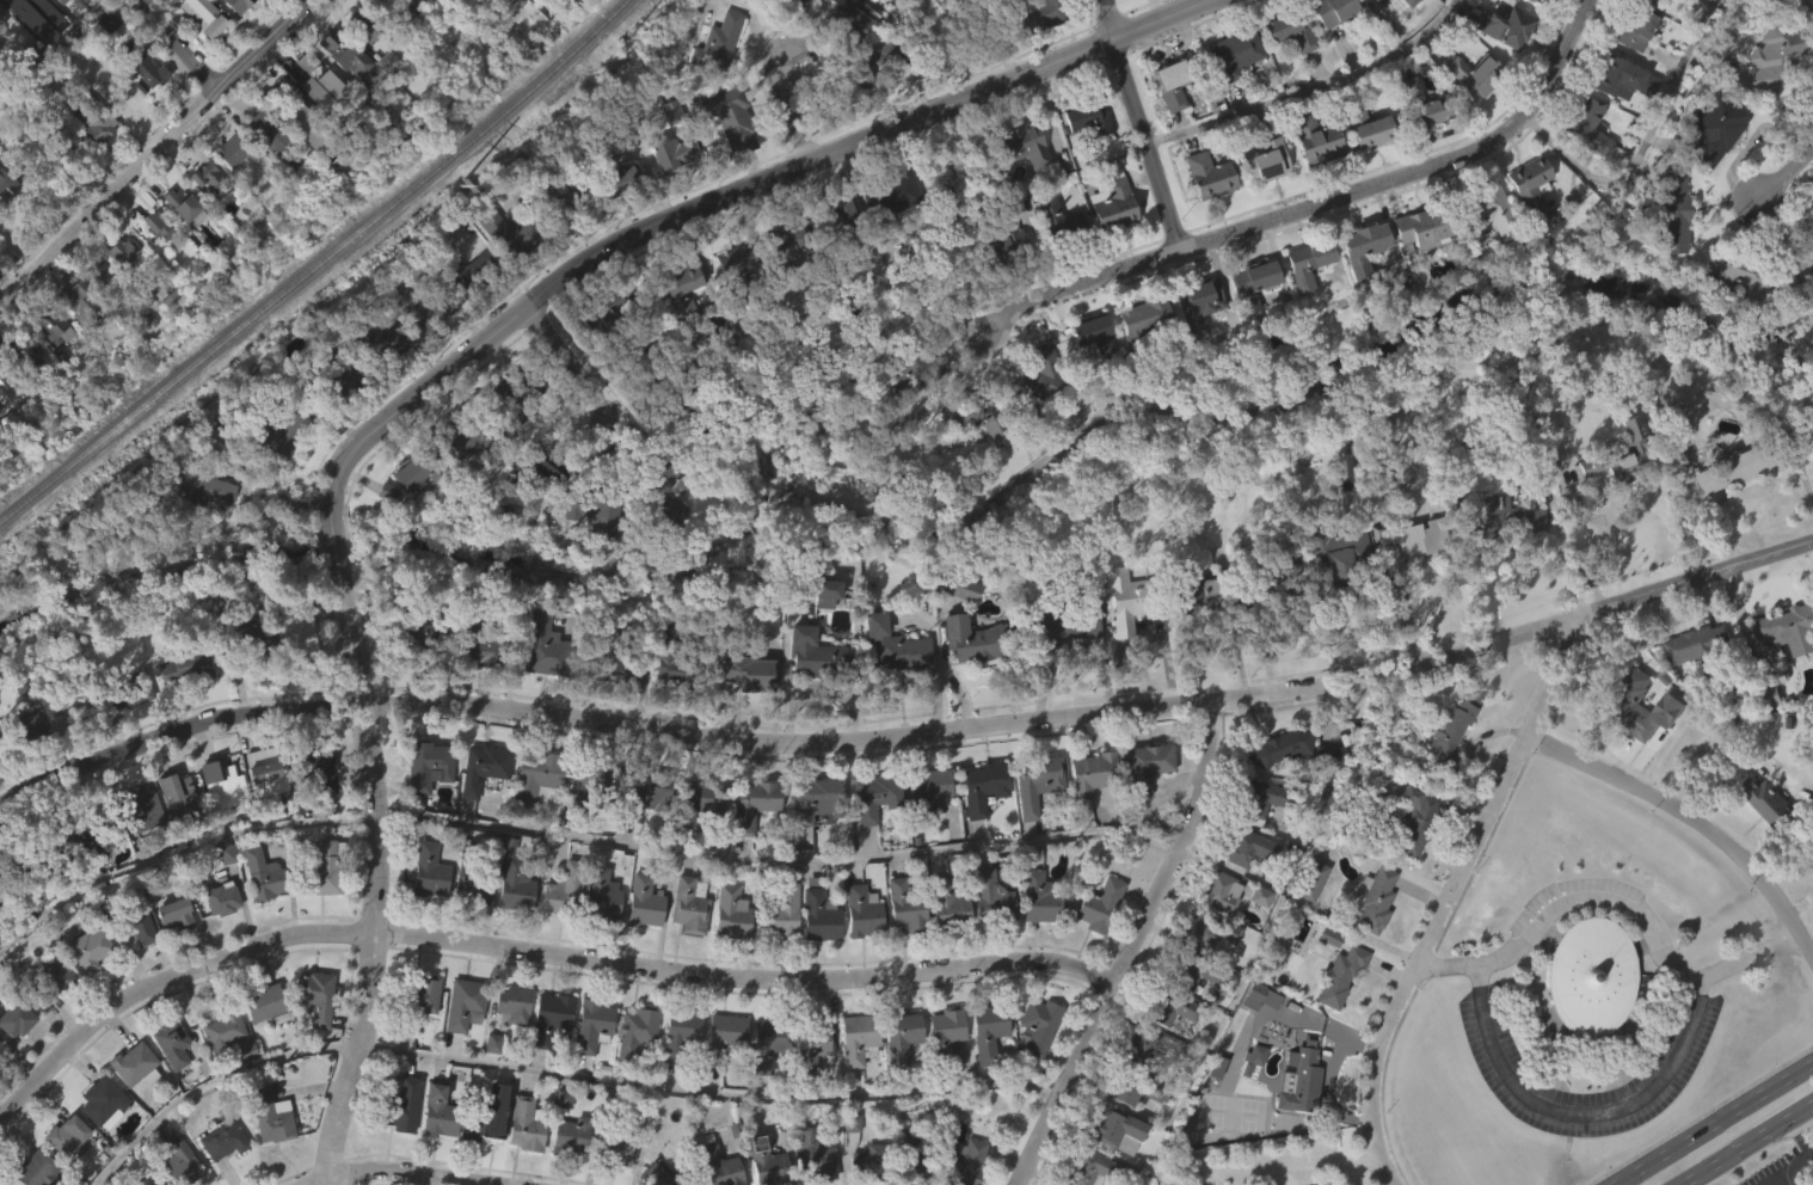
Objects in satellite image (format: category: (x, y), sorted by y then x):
building: (131, 0)
building: (61, 1)
building: (424, 1)
building: (1535, 1)
building: (1646, 1)
building: (1811, 1)
building: (438, 2)
building: (775, 2)
building: (1406, 2)
building: (1156, 4)
building: (235, 5)
building: (1333, 10)
building: (758, 13)
building: (0, 14)
building: (209, 16)
building: (846, 16)
building: (1034, 16)
building: (1382, 19)
building: (0, 23)
building: (417, 24)
building: (365, 25)
building: (43, 26)
building: (1502, 26)
building: (1290, 29)
building: (1635, 31)
building: (789, 36)
building: (184, 37)
road: (180, 42)
building: (1327, 43)
power tower: (626, 44)
building: (720, 44)
building: (846, 47)
building: (32, 51)
building: (348, 51)
building: (1231, 53)
building: (1772, 55)
building: (104, 59)
building: (1, 62)
building: (1499, 65)
building: (1285, 68)
building: (871, 69)
building: (152, 74)
building: (1476, 74)
building: (713, 79)
building: (1621, 79)
building: (1167, 82)
road: (1307, 88)
building: (339, 90)
building: (1228, 92)
building: (1768, 93)
building: (293, 98)
building: (382, 98)
building: (867, 103)
building: (1422, 104)
building: (141, 106)
road: (794, 109)
building: (1465, 112)
building: (1081, 115)
building: (733, 117)
building: (1617, 117)
building: (1166, 121)
building: (98, 122)
road: (1138, 124)
building: (1403, 125)
building: (1713, 127)
building: (1369, 128)
building: (1588, 129)
building: (269, 131)
building: (326, 131)
building: (380, 139)
building: (1317, 139)
road: (1645, 141)
building: (1025, 145)
building: (67, 148)
building: (234, 151)
building: (1419, 151)
road: (155, 153)
building: (670, 153)
building: (1082, 154)
building: (725, 156)
building: (91, 158)
building: (1265, 160)
building: (1363, 165)
building: (1586, 167)
building: (1710, 167)
building: (260, 168)
road: (1789, 170)
building: (6, 171)
building: (1209, 173)
building: (61, 176)
building: (207, 177)
building: (620, 179)
building: (1311, 179)
building: (1018, 182)
building: (229, 188)
power tower: (461, 188)
building: (1529, 189)
building: (656, 192)
road: (721, 194)
building: (557, 197)
building: (886, 198)
building: (1260, 198)
building: (179, 202)
building: (1108, 202)
road: (1319, 204)
building: (1480, 209)
building: (1, 211)
building: (1670, 211)
building: (1203, 213)
building: (203, 215)
building: (611, 215)
building: (834, 216)
building: (1058, 219)
building: (150, 220)
building: (546, 226)
building: (1422, 227)
building: (1526, 227)
building: (883, 229)
building: (514, 233)
building: (1106, 241)
building: (179, 242)
building: (1000, 242)
building: (786, 244)
building: (1364, 246)
building: (835, 248)
building: (1485, 248)
building: (1666, 248)
building: (122, 252)
building: (1052, 257)
building: (1807, 259)
building: (1308, 260)
building: (153, 263)
railway: (315, 263)
building: (732, 266)
building: (1413, 266)
building: (499, 270)
building: (469, 271)
building: (1740, 274)
building: (100, 276)
building: (997, 278)
building: (779, 281)
building: (1253, 283)
building: (1357, 285)
building: (119, 288)
building: (682, 295)
building: (69, 297)
building: (1199, 300)
building: (1302, 300)
building: (404, 305)
building: (463, 308)
building: (94, 309)
building: (1735, 312)
building: (64, 313)
building: (607, 315)
building: (1144, 319)
building: (1247, 320)
building: (51, 325)
building: (675, 326)
building: (161, 330)
building: (1093, 331)
building: (72, 336)
building: (380, 342)
building: (1193, 342)
building: (407, 343)
building: (597, 350)
building: (21, 352)
building: (141, 356)
building: (1138, 356)
building: (650, 362)
building: (48, 363)
road: (571, 363)
building: (921, 366)
building: (1090, 372)
building: (342, 374)
building: (373, 379)
building: (5, 380)
power tower: (223, 385)
building: (20, 389)
building: (1037, 389)
building: (522, 393)
building: (971, 413)
building: (1034, 415)
building: (337, 418)
building: (677, 419)
building: (5, 426)
building: (288, 432)
building: (478, 435)
building: (515, 435)
building: (967, 453)
building: (1621, 455)
road: (264, 459)
building: (6, 460)
building: (546, 467)
building: (1735, 467)
building: (425, 469)
building: (460, 475)
building: (205, 486)
building: (668, 487)
building: (1729, 505)
building: (602, 508)
building: (405, 510)
building: (1500, 521)
building: (197, 526)
building: (381, 529)
building: (662, 530)
building: (1412, 545)
road: (1585, 546)
road: (333, 548)
building: (595, 553)
building: (1338, 553)
building: (1501, 555)
road: (1569, 561)
building: (1408, 581)
building: (1271, 582)
building: (1333, 589)
building: (819, 592)
building: (1196, 594)
building: (1130, 600)
building: (1059, 621)
building: (1787, 625)
building: (296, 627)
building: (1192, 630)
building: (423, 632)
building: (977, 638)
building: (253, 639)
road: (354, 640)
building: (551, 641)
building: (487, 644)
building: (895, 645)
building: (1696, 645)
building: (817, 655)
building: (680, 661)
building: (621, 663)
building: (1116, 663)
building: (1059, 664)
building: (1787, 665)
building: (189, 667)
building: (294, 669)
building: (413, 670)
building: (241, 674)
building: (745, 674)
building: (966, 675)
building: (472, 679)
building: (539, 682)
building: (889, 682)
building: (1692, 682)
building: (1771, 688)
building: (125, 689)
building: (810, 689)
building: (69, 704)
building: (182, 704)
building: (1645, 707)
building: (744, 710)
road: (1098, 713)
building: (25, 729)
building: (122, 729)
building: (1448, 730)
road: (176, 731)
building: (1768, 733)
building: (1629, 742)
building: (1664, 747)
building: (1277, 748)
building: (55, 750)
building: (1325, 754)
building: (21, 763)
building: (431, 765)
building: (1445, 765)
building: (1145, 767)
building: (322, 768)
building: (484, 768)
building: (1087, 773)
building: (268, 774)
building: (540, 778)
building: (221, 782)
building: (586, 782)
building: (1032, 782)
building: (978, 786)
building: (1283, 786)
building: (926, 792)
building: (643, 794)
building: (183, 797)
building: (873, 797)
building: (693, 800)
building: (1254, 800)
building: (1766, 800)
building: (423, 803)
building: (813, 803)
building: (1139, 803)
building: (752, 805)
building: (314, 806)
building: (475, 806)
building: (143, 808)
building: (260, 810)
building: (1086, 811)
building: (531, 812)
road: (374, 817)
building: (589, 818)
building: (1411, 819)
building: (1031, 821)
road: (1690, 823)
building: (923, 824)
building: (977, 824)
building: (102, 827)
building: (172, 831)
building: (696, 831)
building: (868, 834)
building: (637, 835)
building: (1760, 836)
building: (809, 840)
building: (143, 841)
building: (748, 841)
building: (60, 845)
building: (1244, 847)
road: (174, 853)
building: (1408, 856)
road: (778, 859)
building: (20, 860)
building: (324, 868)
building: (260, 871)
building: (431, 871)
building: (1307, 878)
building: (477, 880)
building: (517, 880)
building: (1242, 884)
building: (59, 888)
building: (222, 890)
building: (563, 891)
building: (1219, 894)
building: (2, 897)
building: (601, 897)
building: (988, 897)
building: (1034, 897)
road: (1455, 897)
building: (1373, 898)
building: (643, 903)
building: (945, 903)
building: (688, 904)
building: (899, 904)
building: (320, 905)
building: (1099, 905)
road: (1621, 905)
building: (257, 909)
building: (860, 910)
building: (424, 911)
building: (730, 914)
building: (779, 914)
building: (173, 915)
building: (509, 916)
building: (1305, 916)
building: (817, 917)
building: (137, 925)
building: (469, 925)
building: (559, 925)
building: (1205, 928)
building: (596, 931)
building: (1254, 932)
building: (984, 933)
building: (1033, 933)
building: (1369, 935)
building: (216, 937)
building: (941, 937)
building: (639, 939)
building: (684, 941)
building: (899, 943)
building: (1094, 943)
road: (1132, 947)
building: (92, 948)
building: (856, 948)
building: (726, 950)
building: (776, 950)
building: (171, 951)
building: (813, 951)
building: (136, 964)
building: (1191, 970)
building: (1325, 972)
building: (1342, 974)
building: (57, 975)
building: (1587, 976)
road: (746, 977)
road: (164, 981)
building: (85, 986)
building: (318, 996)
building: (417, 997)
building: (465, 1002)
building: (268, 1003)
building: (512, 1003)
building: (1164, 1006)
building: (1188, 1009)
building: (51, 1011)
building: (1334, 1012)
building: (553, 1017)
building: (18, 1019)
building: (595, 1023)
building: (222, 1026)
building: (1038, 1026)
building: (988, 1029)
building: (638, 1030)
building: (945, 1030)
building: (419, 1031)
building: (312, 1032)
building: (677, 1034)
building: (720, 1037)
building: (897, 1037)
building: (259, 1038)
building: (858, 1038)
building: (459, 1039)
building: (170, 1042)
building: (506, 1042)
building: (809, 1043)
building: (764, 1044)
building: (1164, 1044)
building: (1141, 1050)
building: (545, 1052)
building: (1, 1057)
road: (356, 1058)
building: (588, 1061)
building: (1031, 1062)
building: (136, 1064)
building: (632, 1066)
building: (940, 1066)
building: (217, 1067)
building: (982, 1068)
building: (676, 1070)
building: (720, 1072)
building: (896, 1073)
building: (853, 1075)
building: (487, 1079)
building: (763, 1079)
building: (166, 1080)
building: (809, 1080)
building: (1137, 1085)
building: (241, 1087)
road: (214, 1091)
road: (711, 1093)
road: (1770, 1093)
building: (102, 1100)
building: (130, 1100)
building: (404, 1106)
road: (1580, 1111)
building: (437, 1112)
building: (271, 1116)
building: (526, 1123)
building: (1292, 1123)
building: (485, 1124)
building: (1116, 1129)
road: (1803, 1131)
building: (64, 1134)
building: (222, 1136)
building: (574, 1136)
building: (99, 1138)
road: (1695, 1138)
building: (398, 1141)
road: (1746, 1144)
building: (621, 1147)
building: (434, 1148)
building: (484, 1152)
building: (266, 1153)
building: (815, 1154)
building: (846, 1159)
building: (906, 1159)
road: (1308, 1160)
building: (520, 1161)
building: (767, 1161)
building: (866, 1162)
road: (1802, 1162)
building: (186, 1165)
building: (964, 1165)
building: (1110, 1165)
building: (719, 1166)
building: (1087, 1168)
building: (39, 1169)
building: (62, 1169)
building: (566, 1169)
road: (1641, 1171)
road: (1672, 1171)
road: (1787, 1172)
building: (219, 1173)
road: (413, 1174)
building: (658, 1175)
building: (804, 1175)
building: (609, 1178)
building: (752, 1178)
building: (172, 1179)
building: (4, 1180)
building: (703, 1181)
building: (867, 1181)
building: (1320, 1181)
building: (146, 1183)
building: (688, 1183)
road: (504, 1184)
road: (1682, 1184)

